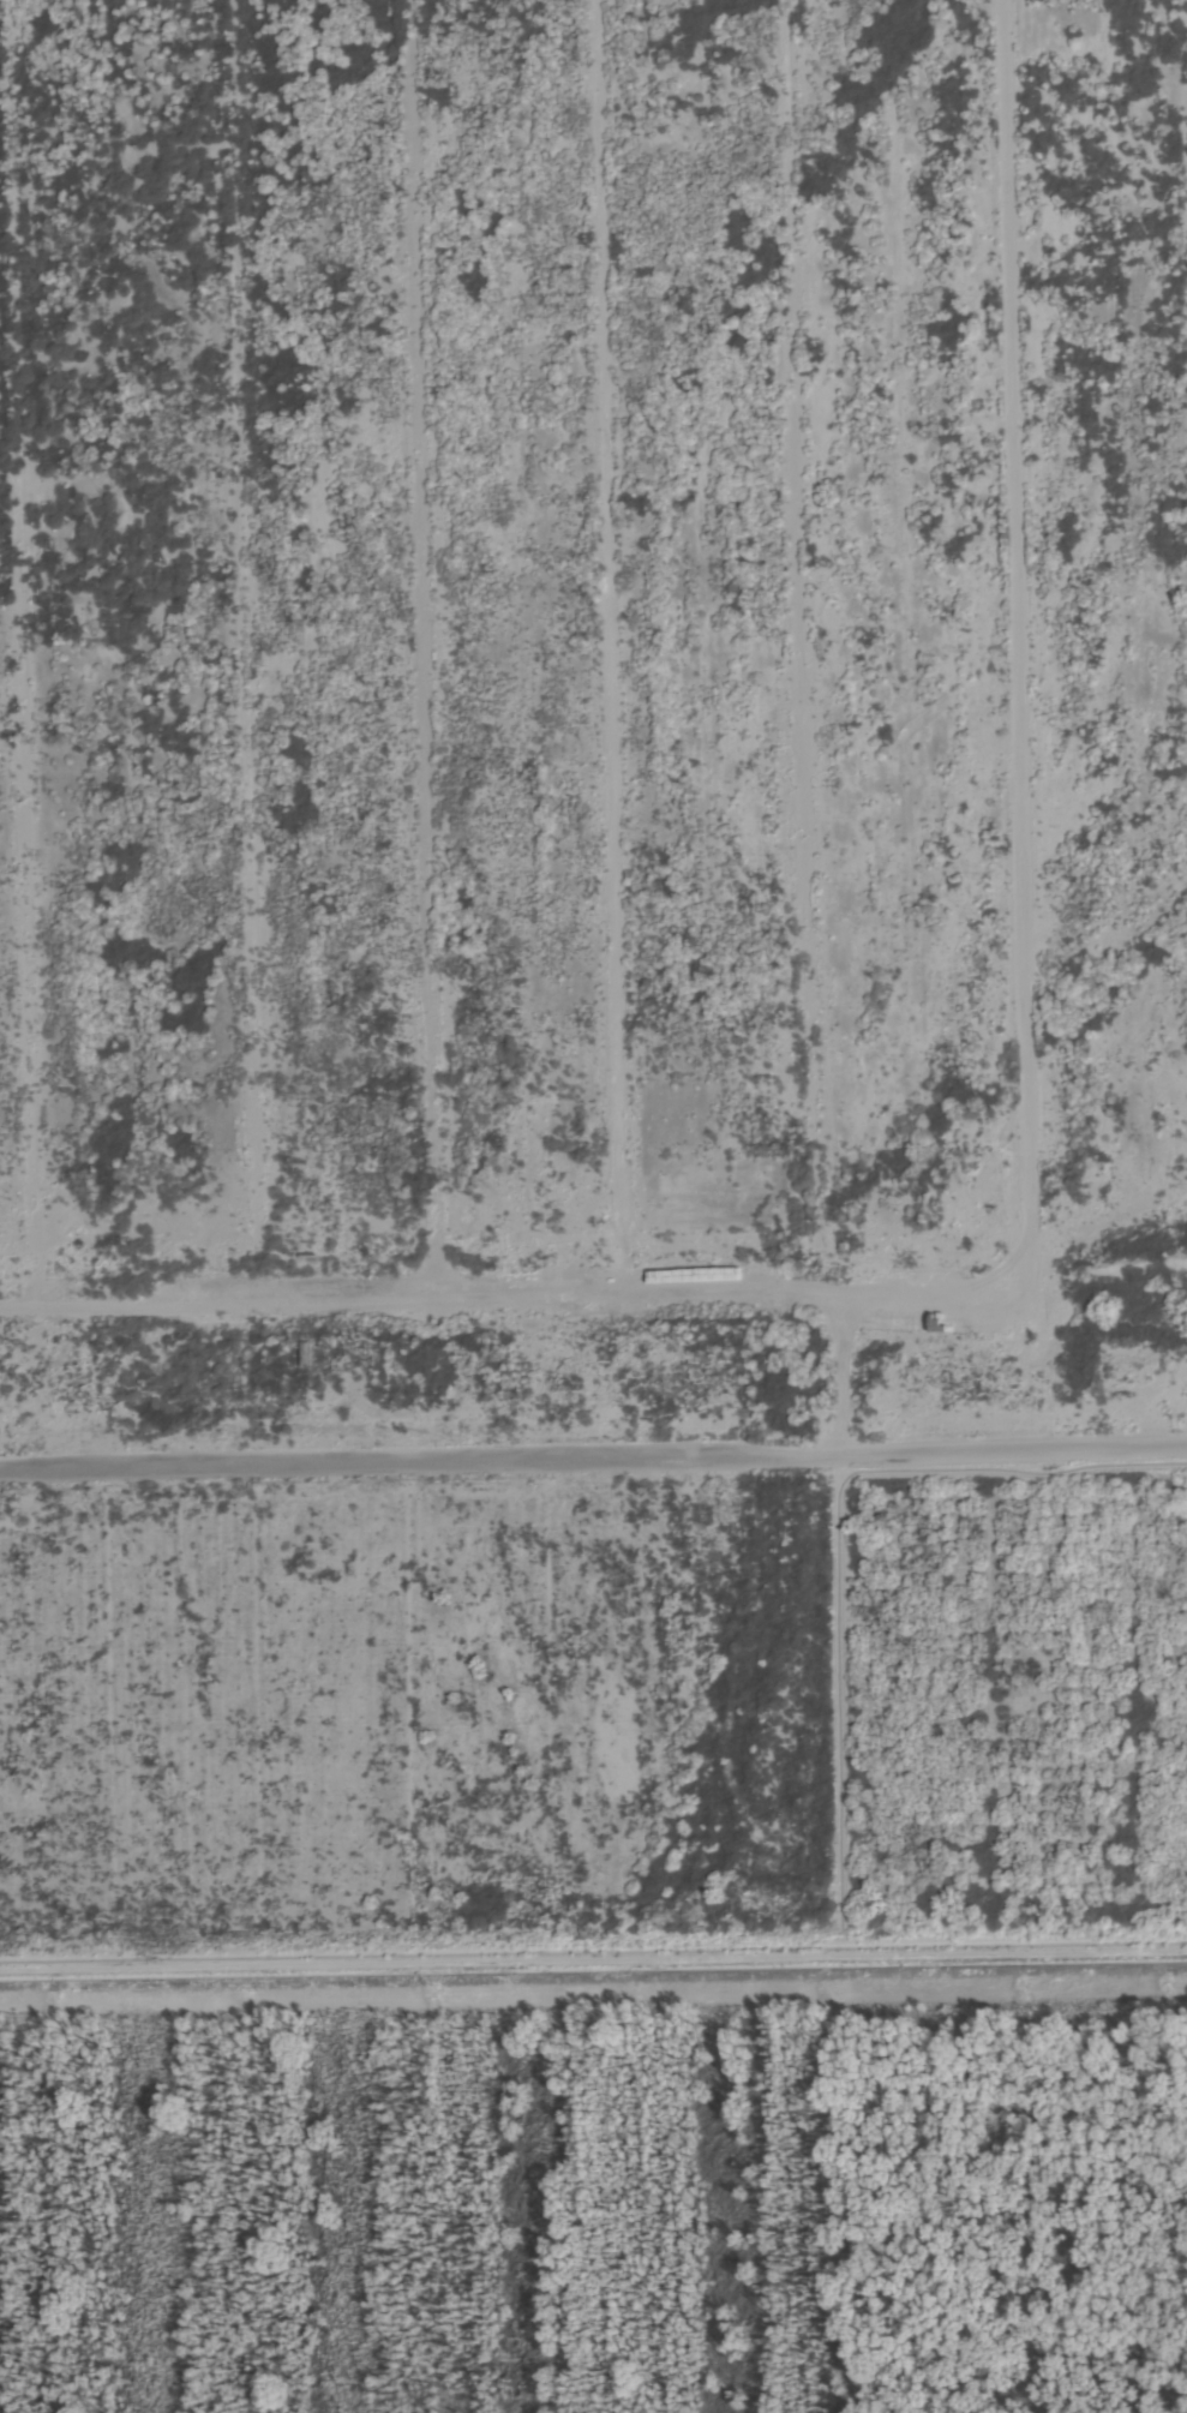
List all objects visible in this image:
road: (593, 1444)

